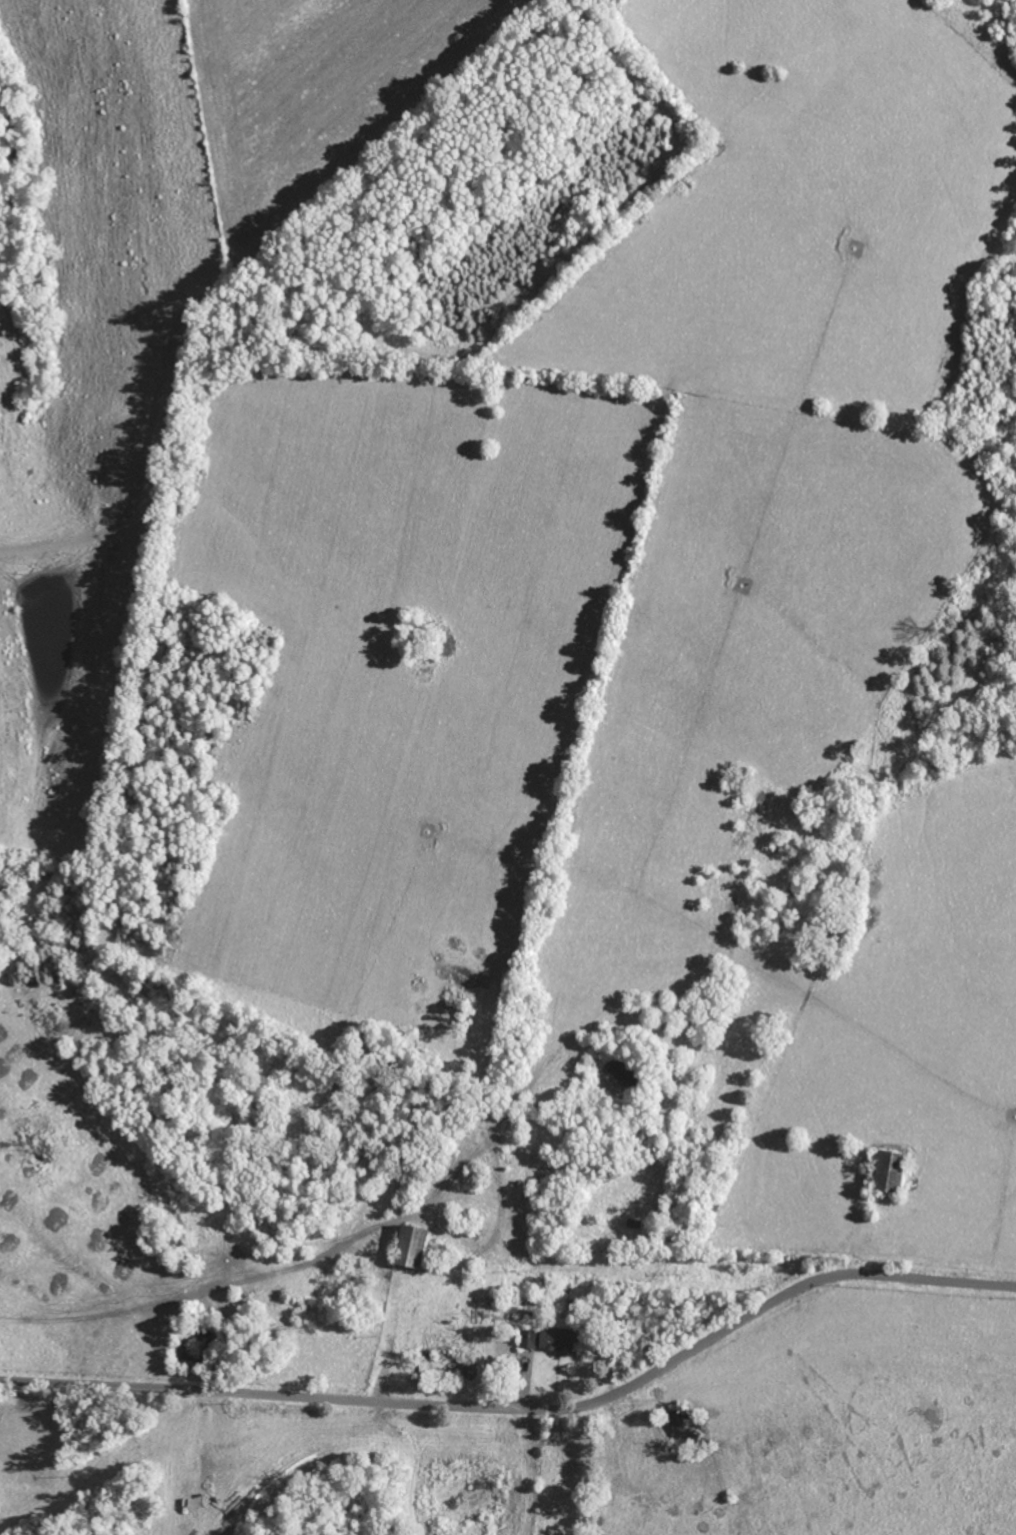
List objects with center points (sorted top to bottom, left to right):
building: (888, 1171)
building: (410, 1247)
power tower: (315, 1327)
building: (547, 1340)
road: (524, 1406)

